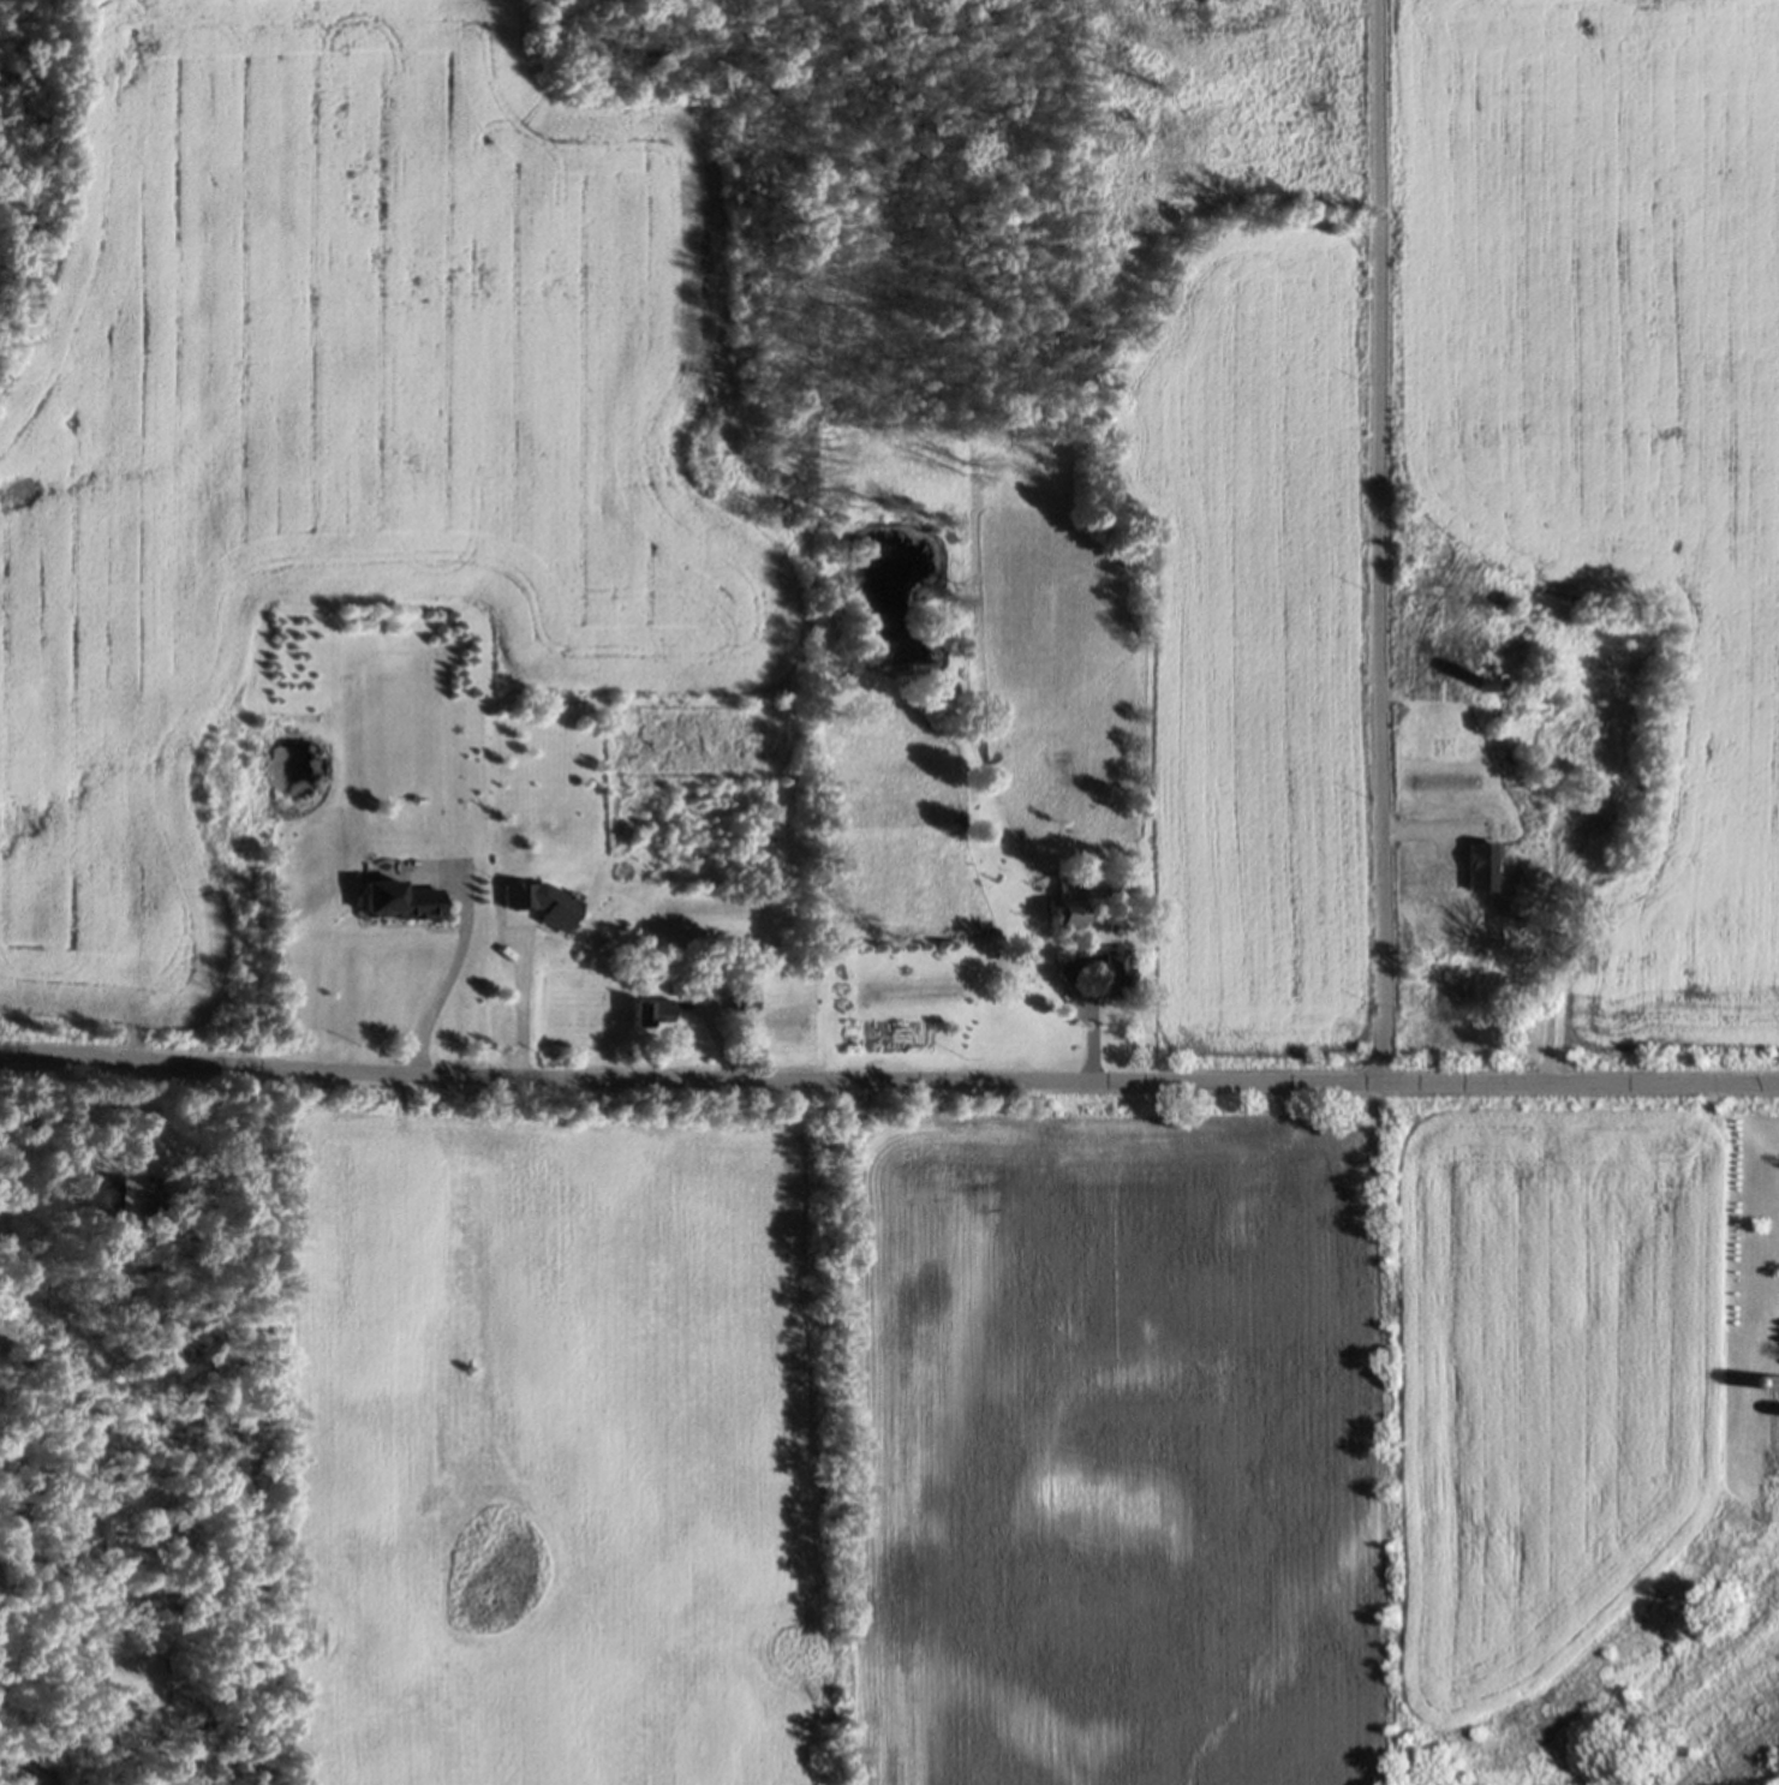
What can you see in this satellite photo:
road: (1384, 543)
building: (1527, 890)
building: (399, 903)
building: (1069, 906)
building: (543, 907)
building: (1098, 973)
road: (446, 979)
building: (747, 1002)
road: (532, 1013)
building: (653, 1016)
road: (889, 1081)
building: (97, 1193)

